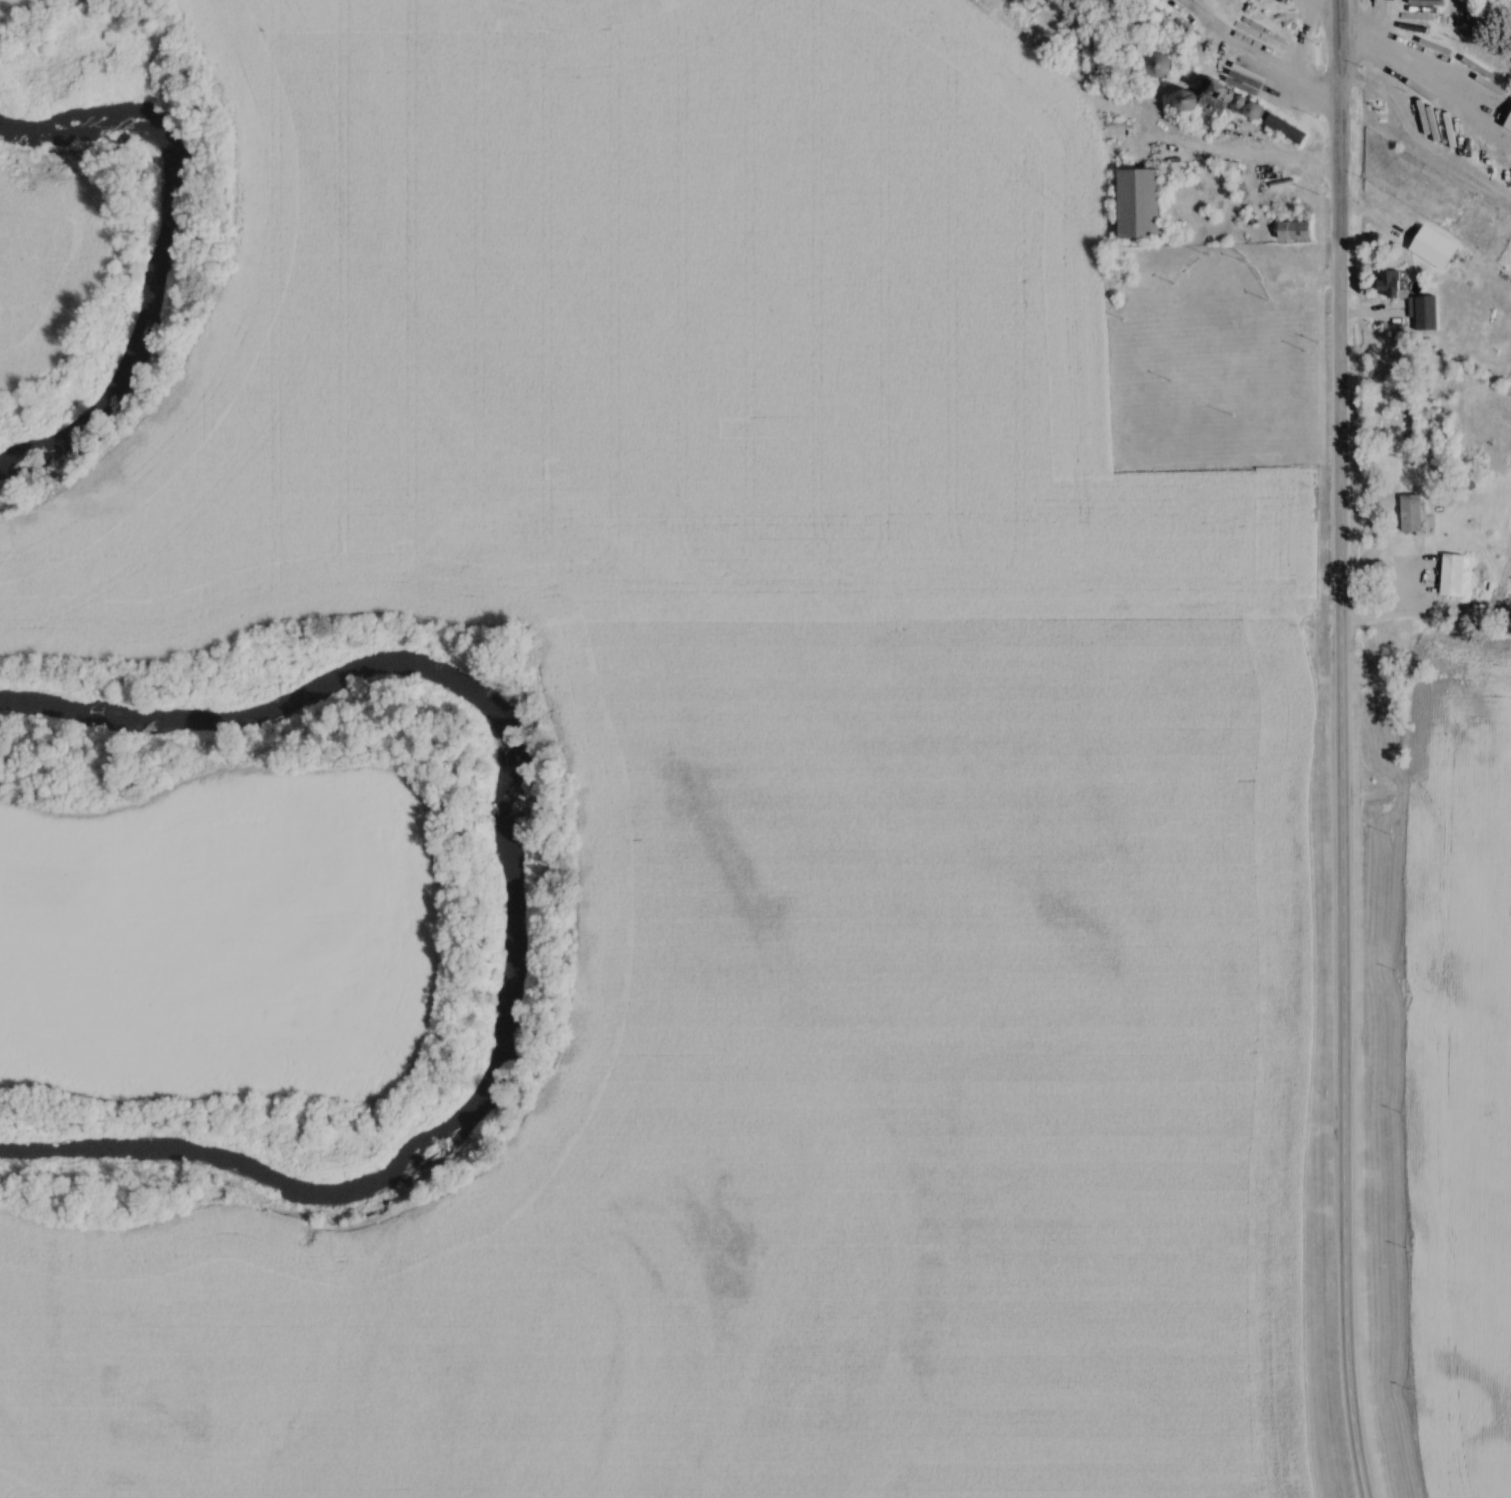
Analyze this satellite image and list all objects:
building: (1477, 17)
road: (1414, 79)
building: (1214, 108)
building: (1287, 130)
building: (1140, 204)
building: (1294, 231)
river: (161, 241)
building: (1435, 248)
building: (1391, 285)
building: (1427, 313)
road: (1339, 355)
building: (1413, 515)
building: (1454, 576)
river: (510, 901)
road: (1342, 1105)

